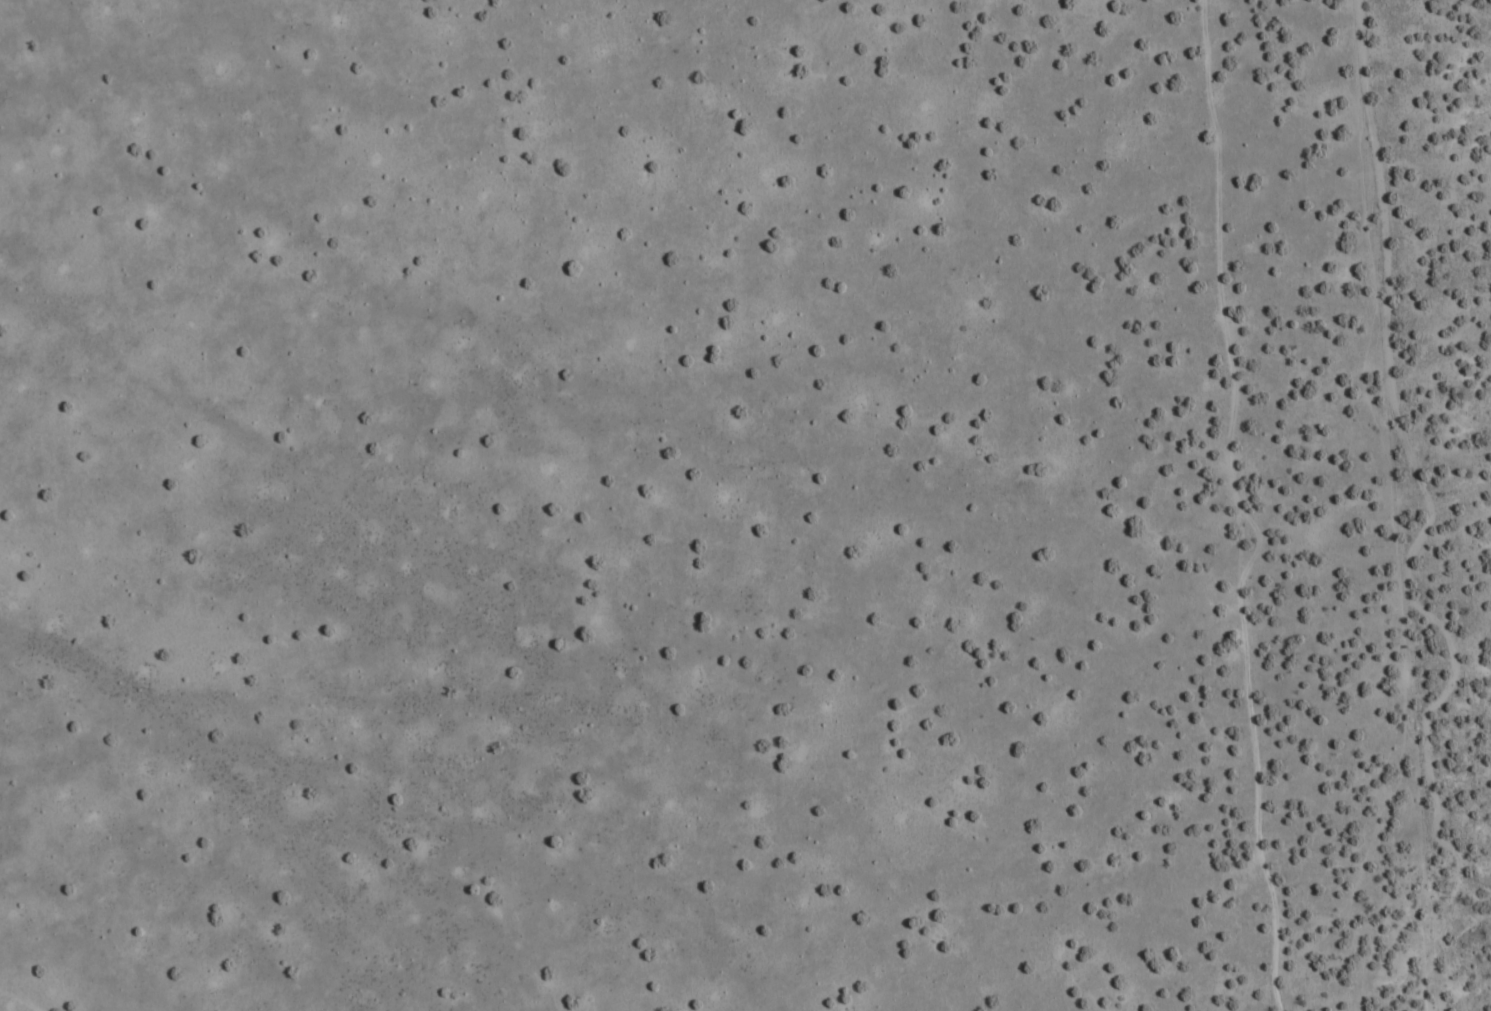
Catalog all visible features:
road: (1206, 505)

